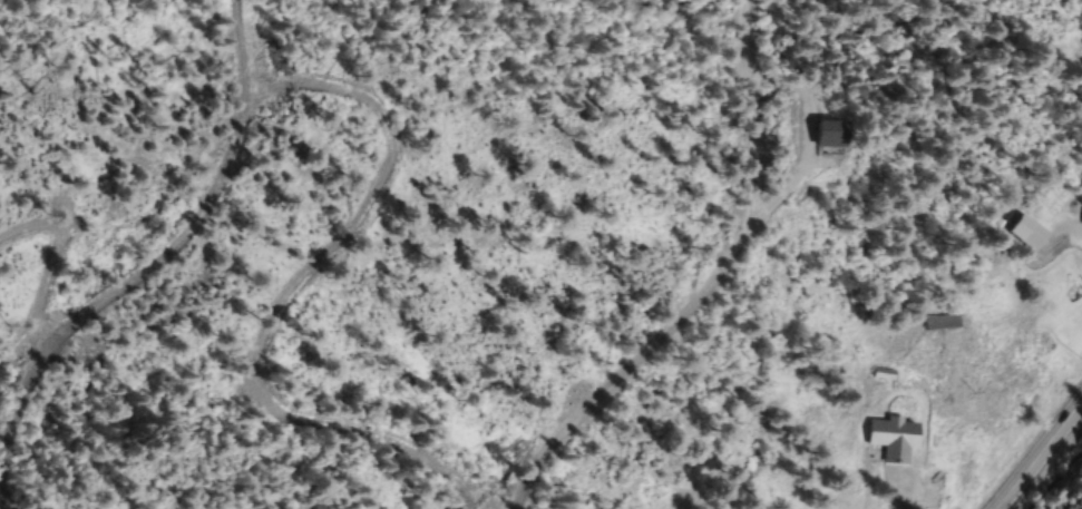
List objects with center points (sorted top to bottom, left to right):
building: (836, 135)
building: (1032, 234)
building: (944, 322)
building: (896, 439)
road: (1033, 450)

